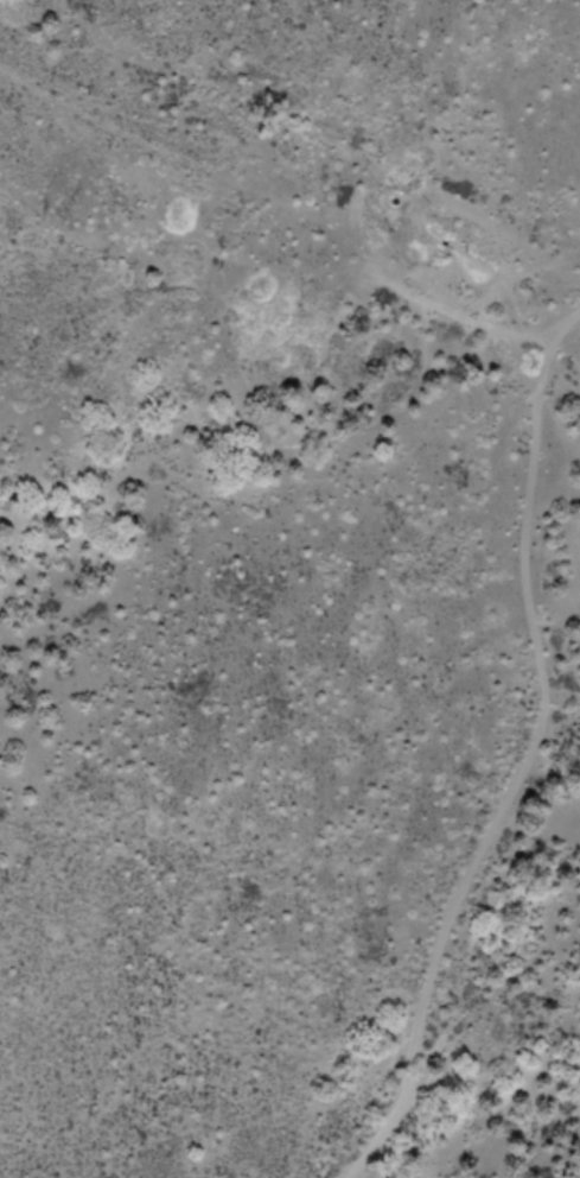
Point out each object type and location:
road: (520, 755)

